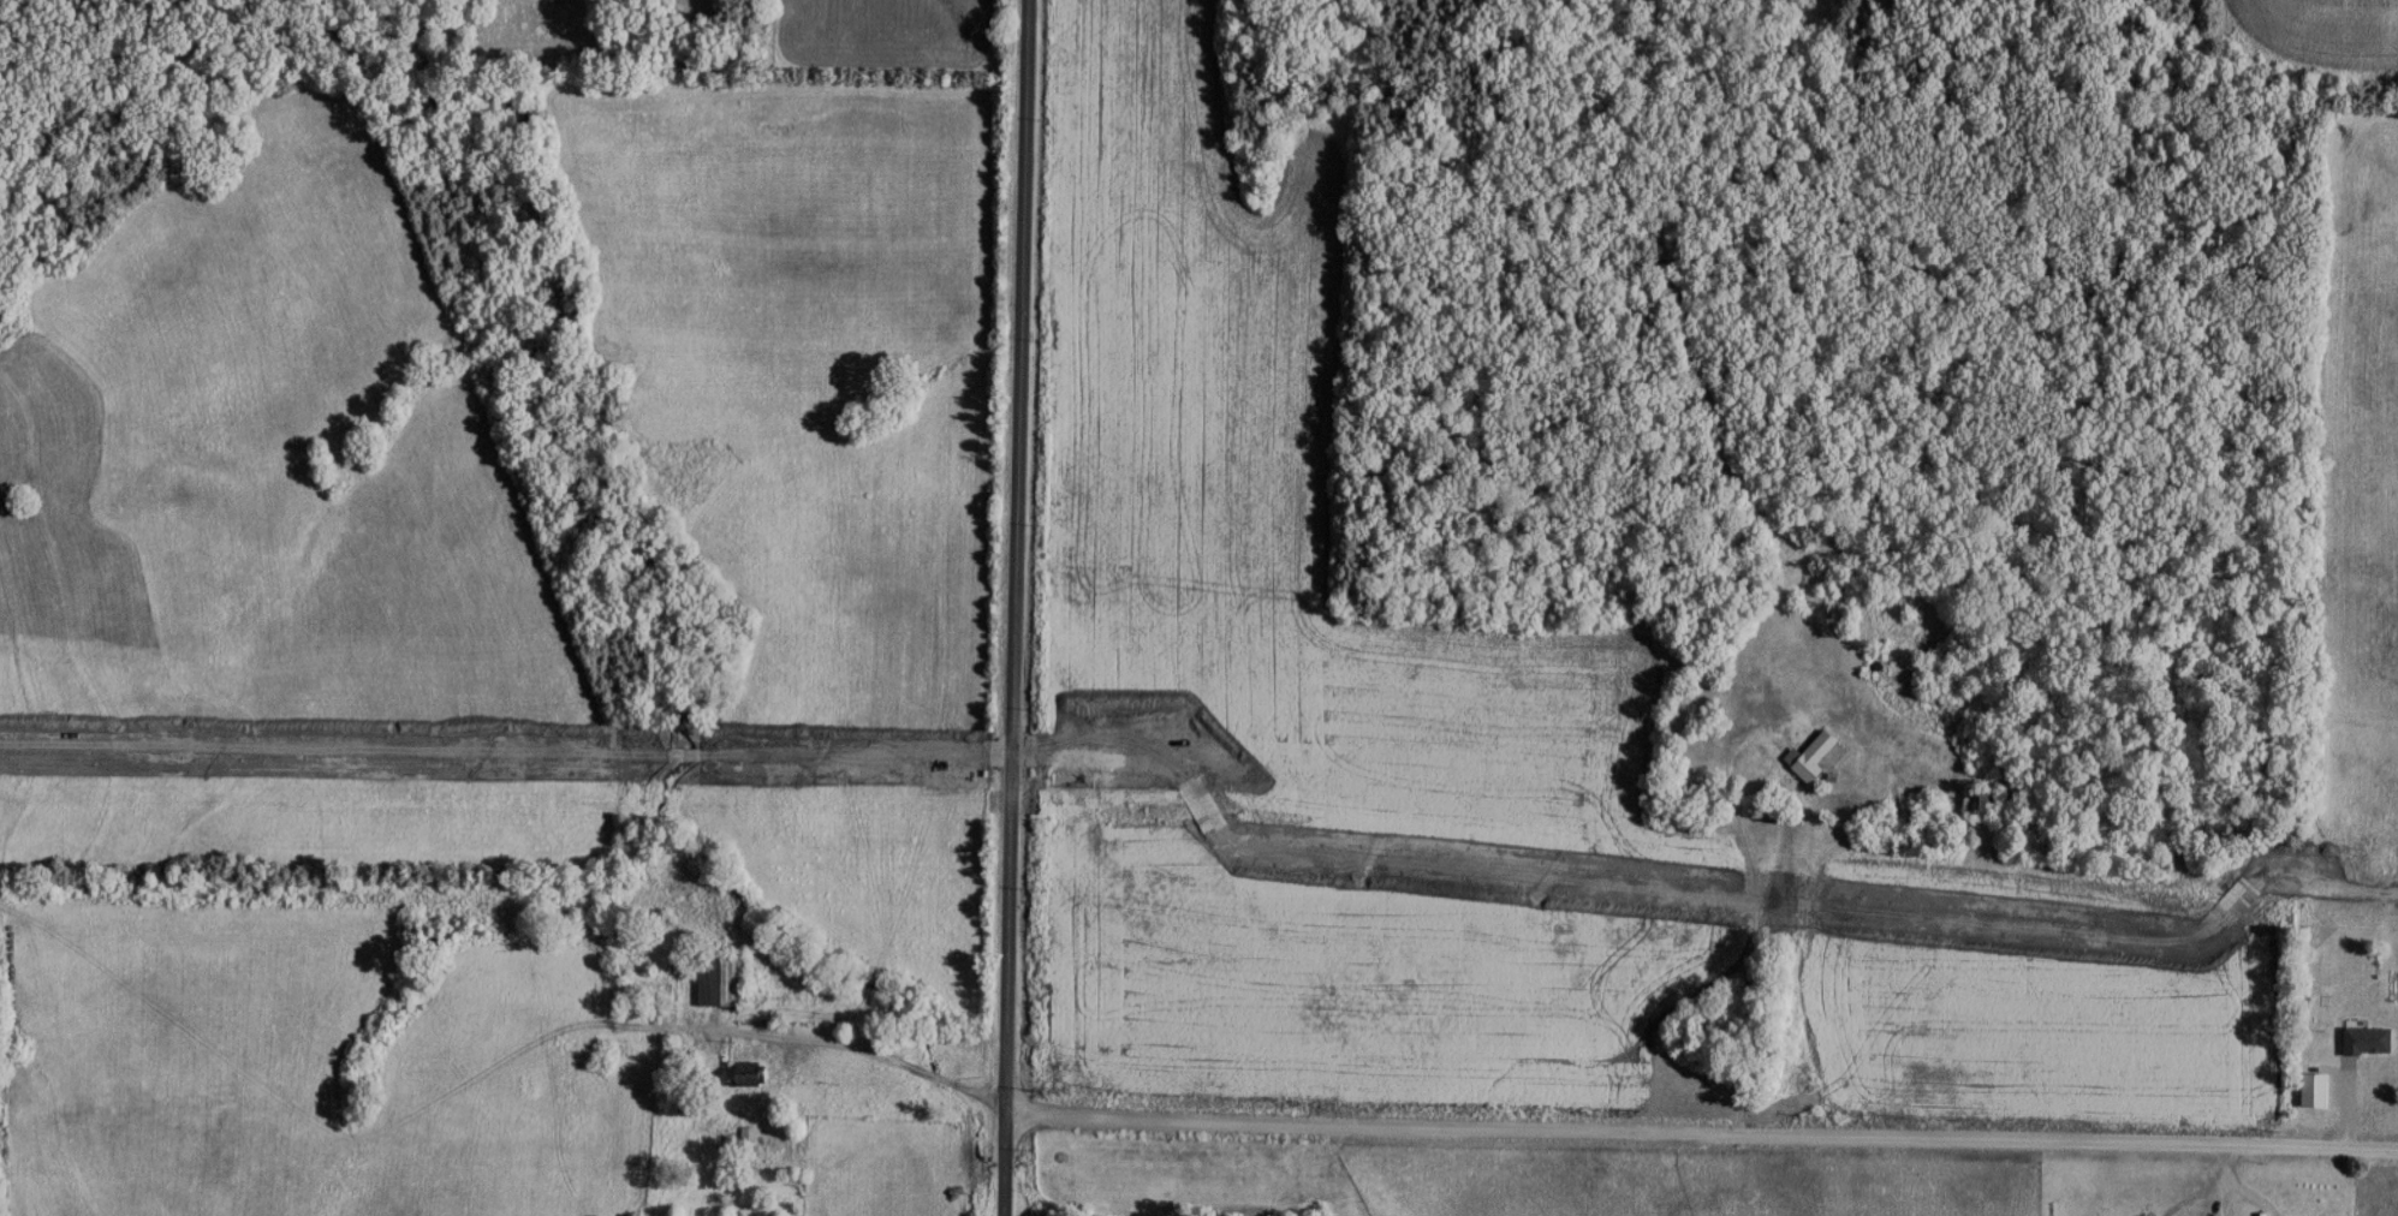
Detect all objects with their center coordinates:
road: (1022, 608)
building: (1917, 771)
building: (1982, 798)
building: (728, 978)
building: (2363, 1038)
road: (887, 1061)
building: (752, 1071)
road: (1707, 1097)
building: (767, 1148)
building: (2144, 1214)

